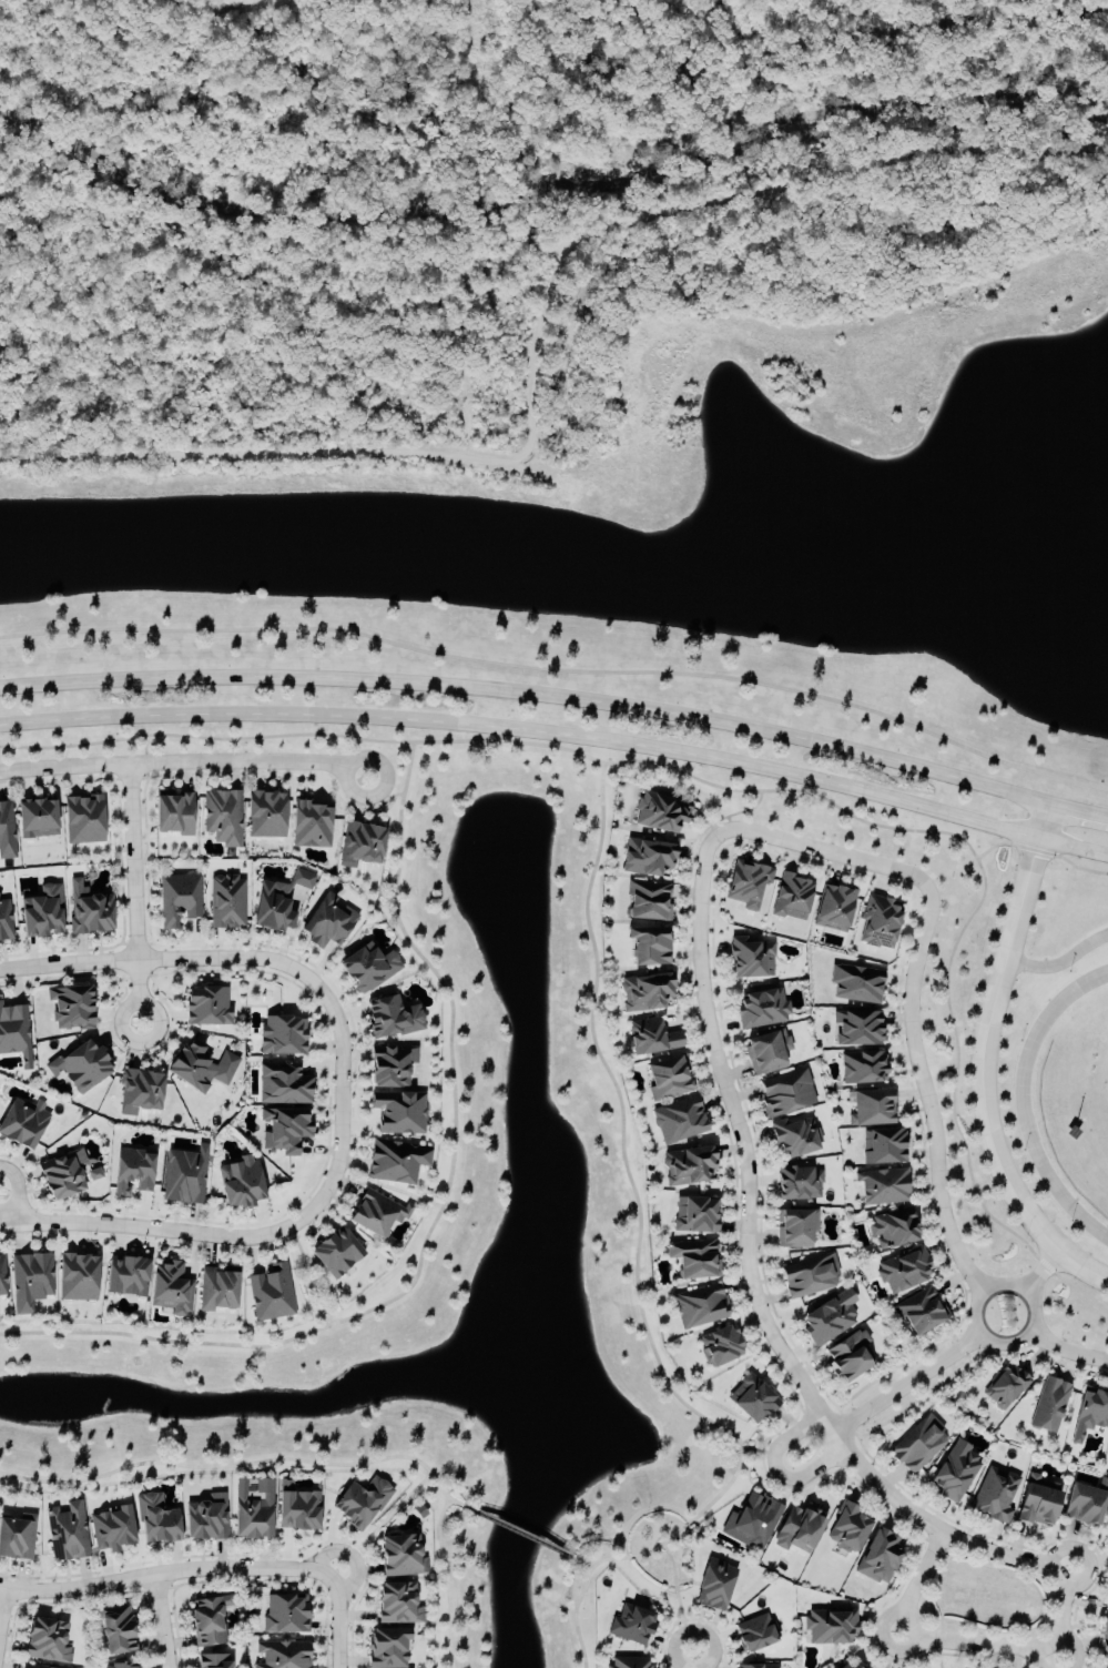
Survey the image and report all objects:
river: (550, 186)
road: (536, 331)
road: (560, 674)
road: (530, 693)
road: (560, 729)
road: (146, 749)
road: (184, 761)
road: (721, 787)
road: (1078, 811)
building: (660, 812)
building: (173, 813)
building: (265, 815)
building: (222, 817)
building: (37, 819)
building: (82, 820)
building: (309, 826)
building: (6, 831)
building: (360, 845)
road: (1003, 845)
road: (829, 853)
building: (648, 858)
road: (1070, 865)
building: (748, 884)
road: (136, 893)
building: (792, 898)
building: (177, 900)
building: (648, 901)
building: (226, 902)
building: (279, 902)
building: (833, 909)
building: (88, 910)
building: (41, 912)
building: (4, 921)
building: (327, 922)
building: (878, 922)
building: (649, 947)
building: (751, 959)
road: (69, 963)
road: (1061, 963)
building: (367, 968)
building: (856, 984)
building: (644, 993)
building: (206, 1007)
building: (70, 1008)
building: (762, 1010)
building: (392, 1019)
building: (857, 1029)
building: (14, 1034)
building: (282, 1035)
building: (651, 1038)
building: (766, 1052)
road: (985, 1063)
building: (390, 1066)
building: (81, 1068)
building: (200, 1068)
building: (863, 1069)
building: (667, 1079)
building: (282, 1085)
building: (140, 1092)
road: (925, 1093)
building: (786, 1094)
road: (1025, 1103)
building: (872, 1109)
building: (398, 1113)
building: (679, 1121)
building: (22, 1124)
building: (283, 1131)
building: (794, 1139)
building: (883, 1146)
building: (396, 1162)
road: (339, 1165)
building: (689, 1166)
building: (132, 1172)
building: (65, 1175)
building: (184, 1176)
building: (799, 1184)
building: (240, 1185)
building: (883, 1186)
road: (18, 1191)
building: (376, 1214)
building: (694, 1216)
building: (793, 1229)
building: (893, 1229)
building: (336, 1253)
building: (692, 1260)
building: (903, 1272)
road: (1044, 1273)
building: (126, 1277)
road: (753, 1277)
building: (810, 1277)
building: (2, 1278)
building: (77, 1278)
building: (29, 1282)
road: (1079, 1288)
building: (170, 1290)
building: (216, 1291)
building: (271, 1294)
building: (700, 1307)
building: (922, 1312)
building: (829, 1318)
road: (984, 1336)
building: (720, 1346)
road: (1066, 1352)
building: (847, 1357)
road: (908, 1385)
building: (1005, 1387)
building: (752, 1401)
building: (1049, 1406)
building: (1091, 1411)
building: (918, 1446)
road: (781, 1472)
building: (956, 1473)
building: (995, 1496)
building: (360, 1503)
building: (1037, 1504)
building: (1084, 1506)
building: (296, 1509)
building: (252, 1510)
building: (205, 1519)
building: (156, 1522)
building: (752, 1523)
building: (111, 1529)
building: (847, 1529)
building: (797, 1531)
building: (67, 1533)
road: (520, 1533)
building: (17, 1538)
building: (400, 1556)
building: (880, 1558)
road: (169, 1571)
building: (715, 1587)
road: (935, 1588)
park: (984, 1600)
building: (398, 1605)
road: (1040, 1605)
road: (2, 1608)
building: (284, 1615)
building: (225, 1616)
road: (339, 1618)
road: (164, 1620)
building: (207, 1621)
building: (631, 1626)
building: (830, 1628)
building: (115, 1631)
building: (754, 1635)
building: (1105, 1637)
building: (47, 1641)
road: (962, 1645)
building: (388, 1648)
building: (283, 1655)
road: (939, 1656)
building: (213, 1661)
road: (695, 1661)
building: (628, 1664)
building: (851, 1665)
building: (1105, 1665)
building: (118, 1666)
building: (28, 1667)
building: (758, 1667)

